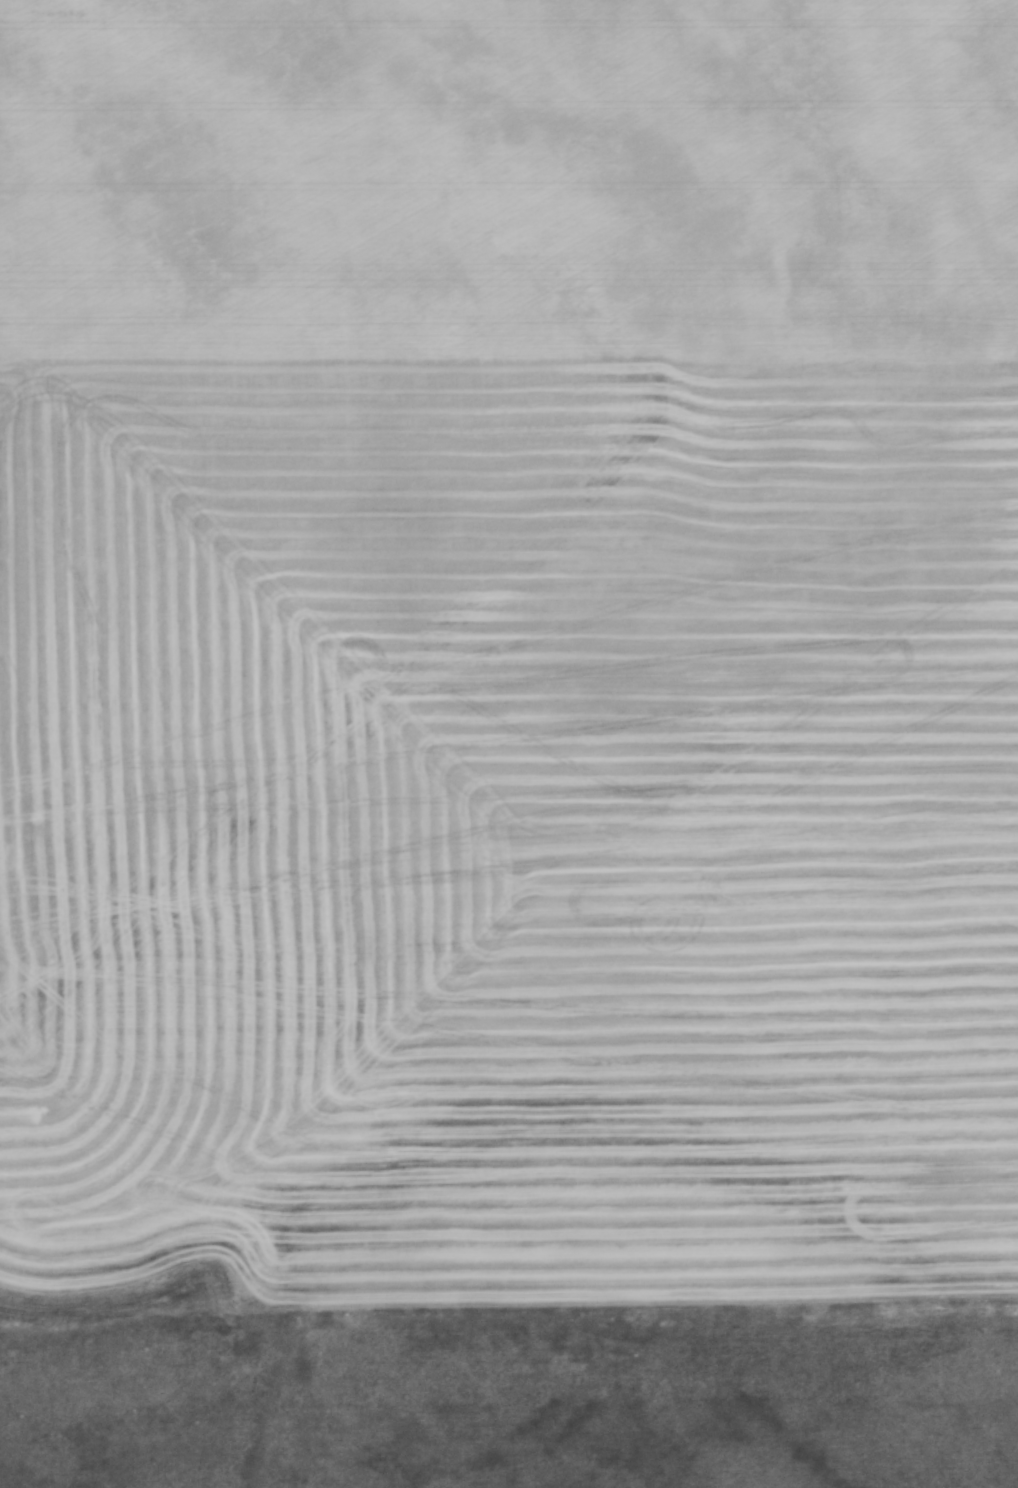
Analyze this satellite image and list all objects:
crop: (508, 650)

